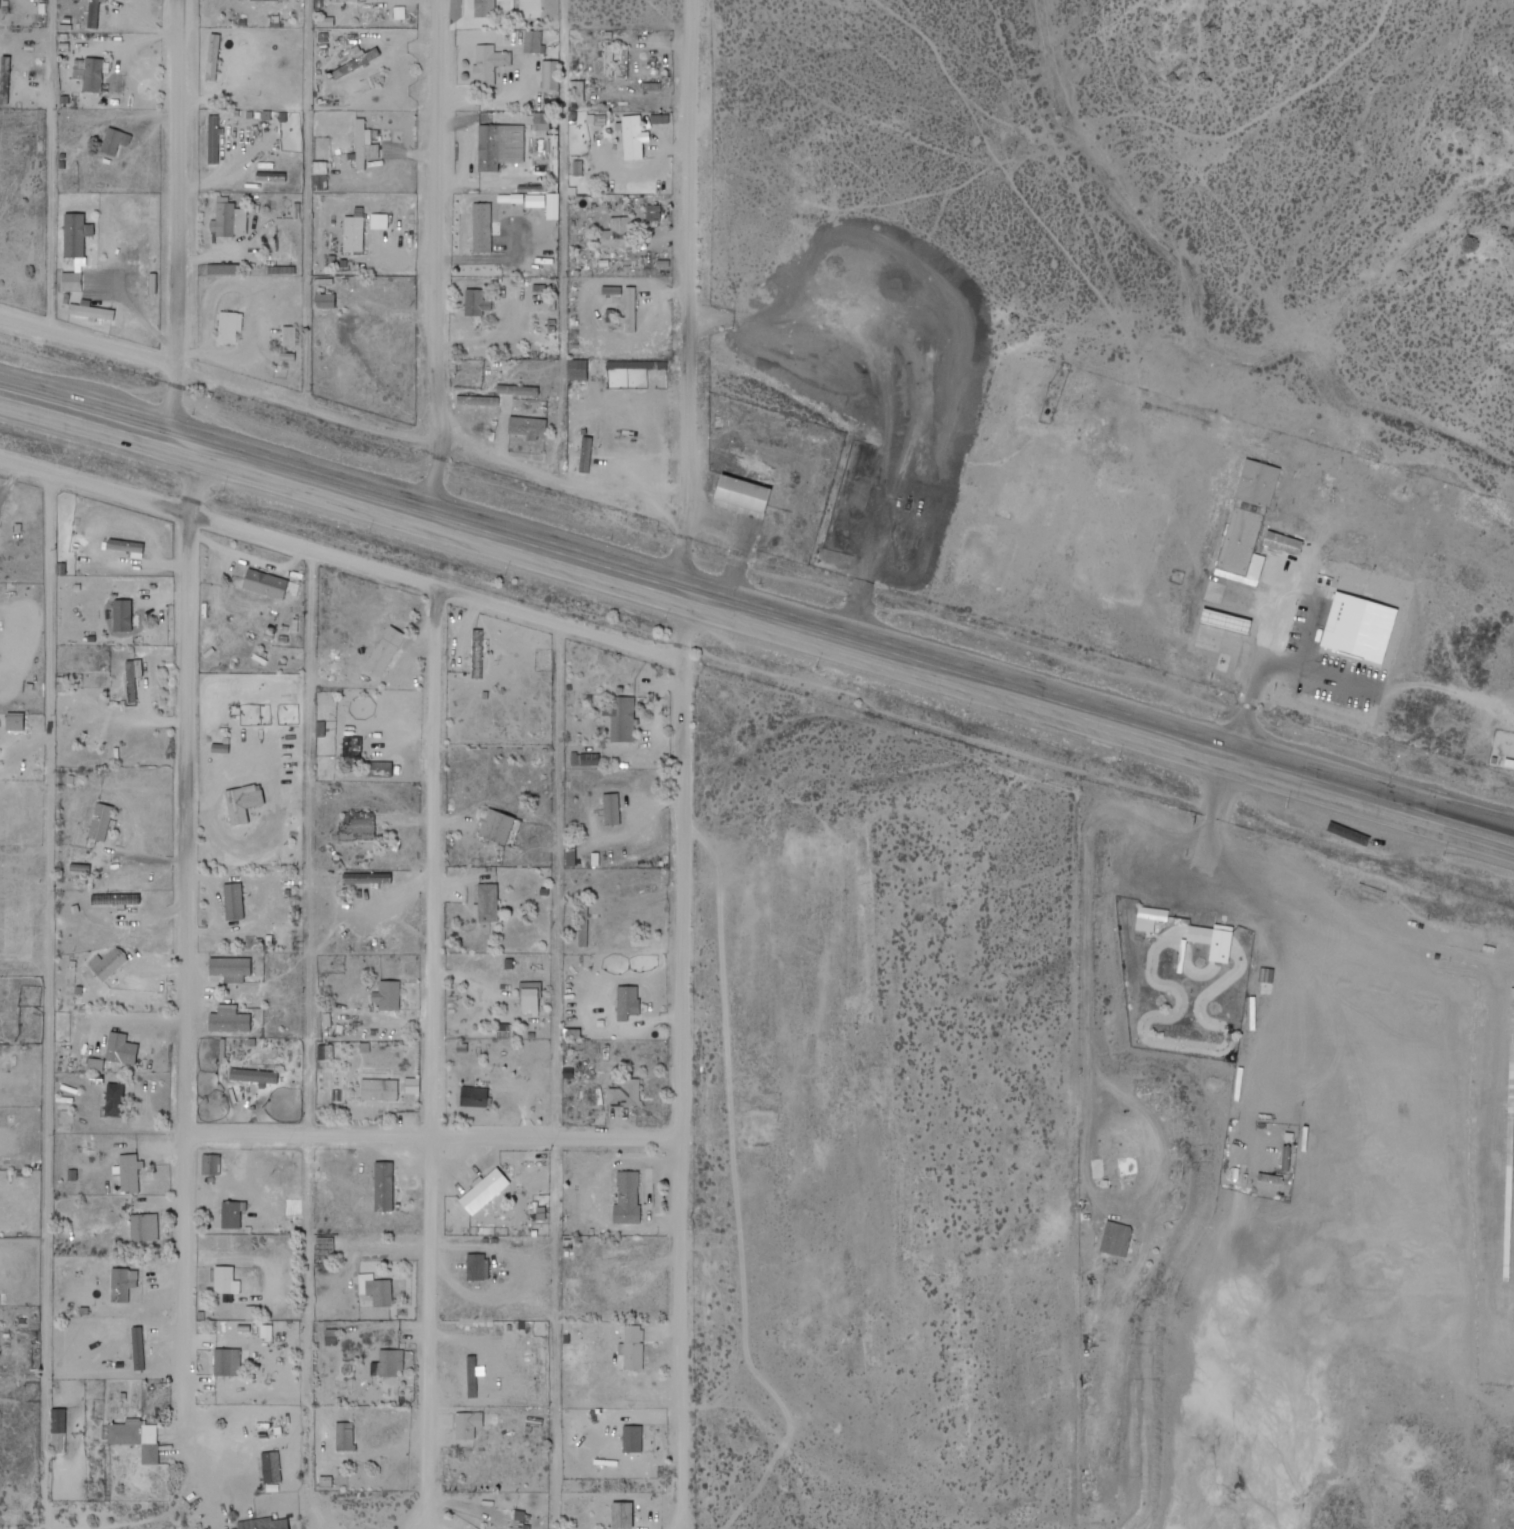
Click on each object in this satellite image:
building: (253, 0)
building: (343, 0)
building: (485, 8)
building: (94, 13)
building: (89, 73)
building: (633, 137)
building: (112, 141)
building: (365, 145)
building: (497, 146)
road: (61, 167)
road: (179, 184)
building: (224, 217)
building: (379, 222)
building: (482, 228)
building: (354, 233)
building: (618, 233)
road: (436, 263)
road: (688, 302)
building: (475, 303)
building: (325, 340)
road: (90, 343)
building: (577, 369)
building: (477, 400)
road: (175, 410)
building: (527, 426)
road: (432, 444)
building: (585, 456)
building: (743, 494)
building: (1249, 521)
road: (498, 527)
building: (125, 545)
road: (495, 548)
road: (341, 558)
building: (265, 584)
road: (1414, 606)
building: (122, 615)
building: (1235, 623)
gas station: (1235, 623)
building: (1359, 633)
building: (386, 651)
road: (1245, 654)
building: (477, 655)
building: (132, 679)
road: (1397, 692)
building: (621, 719)
building: (14, 722)
road: (1217, 740)
building: (352, 751)
road: (1242, 756)
building: (589, 759)
building: (380, 769)
road: (1251, 777)
building: (237, 807)
building: (611, 809)
road: (1475, 812)
road: (1475, 817)
building: (100, 822)
building: (359, 825)
building: (497, 826)
building: (488, 903)
building: (1150, 918)
building: (583, 923)
building: (1201, 935)
building: (107, 964)
road: (185, 966)
building: (230, 970)
road: (49, 986)
building: (389, 996)
building: (532, 998)
building: (622, 1003)
building: (231, 1020)
road: (310, 1043)
building: (116, 1048)
road: (434, 1048)
road: (682, 1056)
building: (254, 1076)
road: (556, 1077)
building: (380, 1090)
building: (625, 1094)
building: (474, 1098)
building: (115, 1100)
road: (434, 1135)
building: (1103, 1158)
building: (211, 1165)
building: (129, 1174)
building: (383, 1186)
building: (627, 1197)
building: (231, 1216)
building: (146, 1228)
building: (1117, 1239)
building: (476, 1268)
building: (226, 1281)
building: (120, 1286)
building: (377, 1290)
building: (633, 1346)
building: (227, 1361)
building: (388, 1363)
building: (468, 1423)
building: (58, 1429)
building: (345, 1435)
building: (136, 1437)
building: (633, 1438)
building: (271, 1466)
building: (618, 1514)
road: (416, 1518)
building: (521, 1519)
building: (266, 1523)

